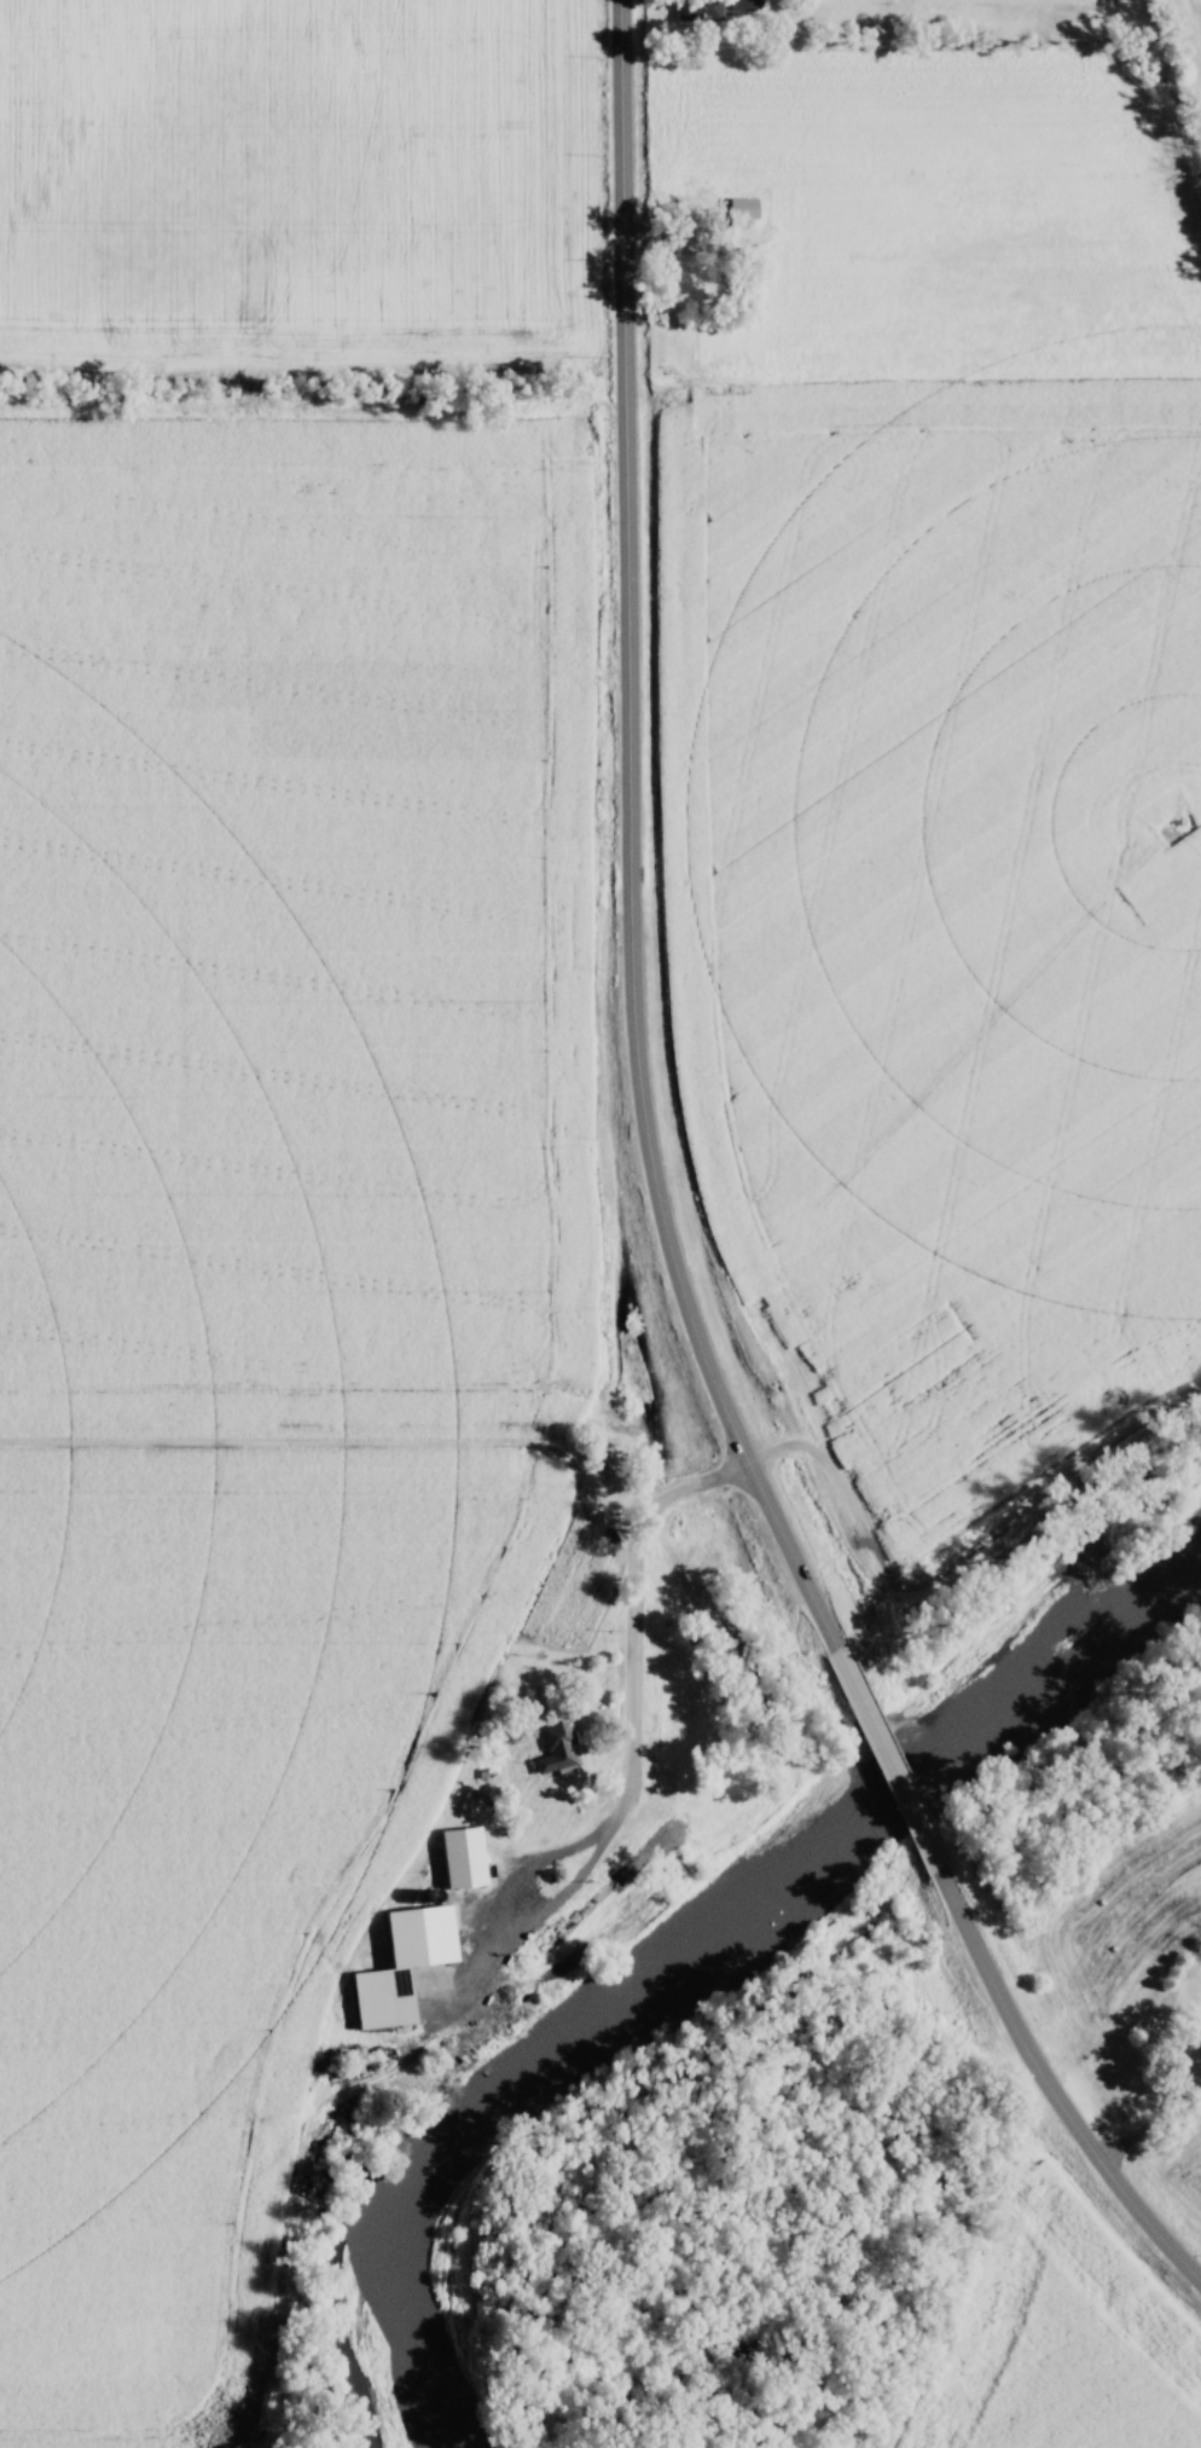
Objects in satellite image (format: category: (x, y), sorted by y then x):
building: (743, 5)
building: (700, 10)
building: (678, 277)
road: (631, 846)
crop: (263, 1267)
road: (629, 1705)
building: (556, 1748)
road: (884, 1767)
building: (463, 1857)
building: (539, 1896)
river: (725, 1955)
building: (382, 1956)
building: (1197, 2007)
road: (1048, 2094)

